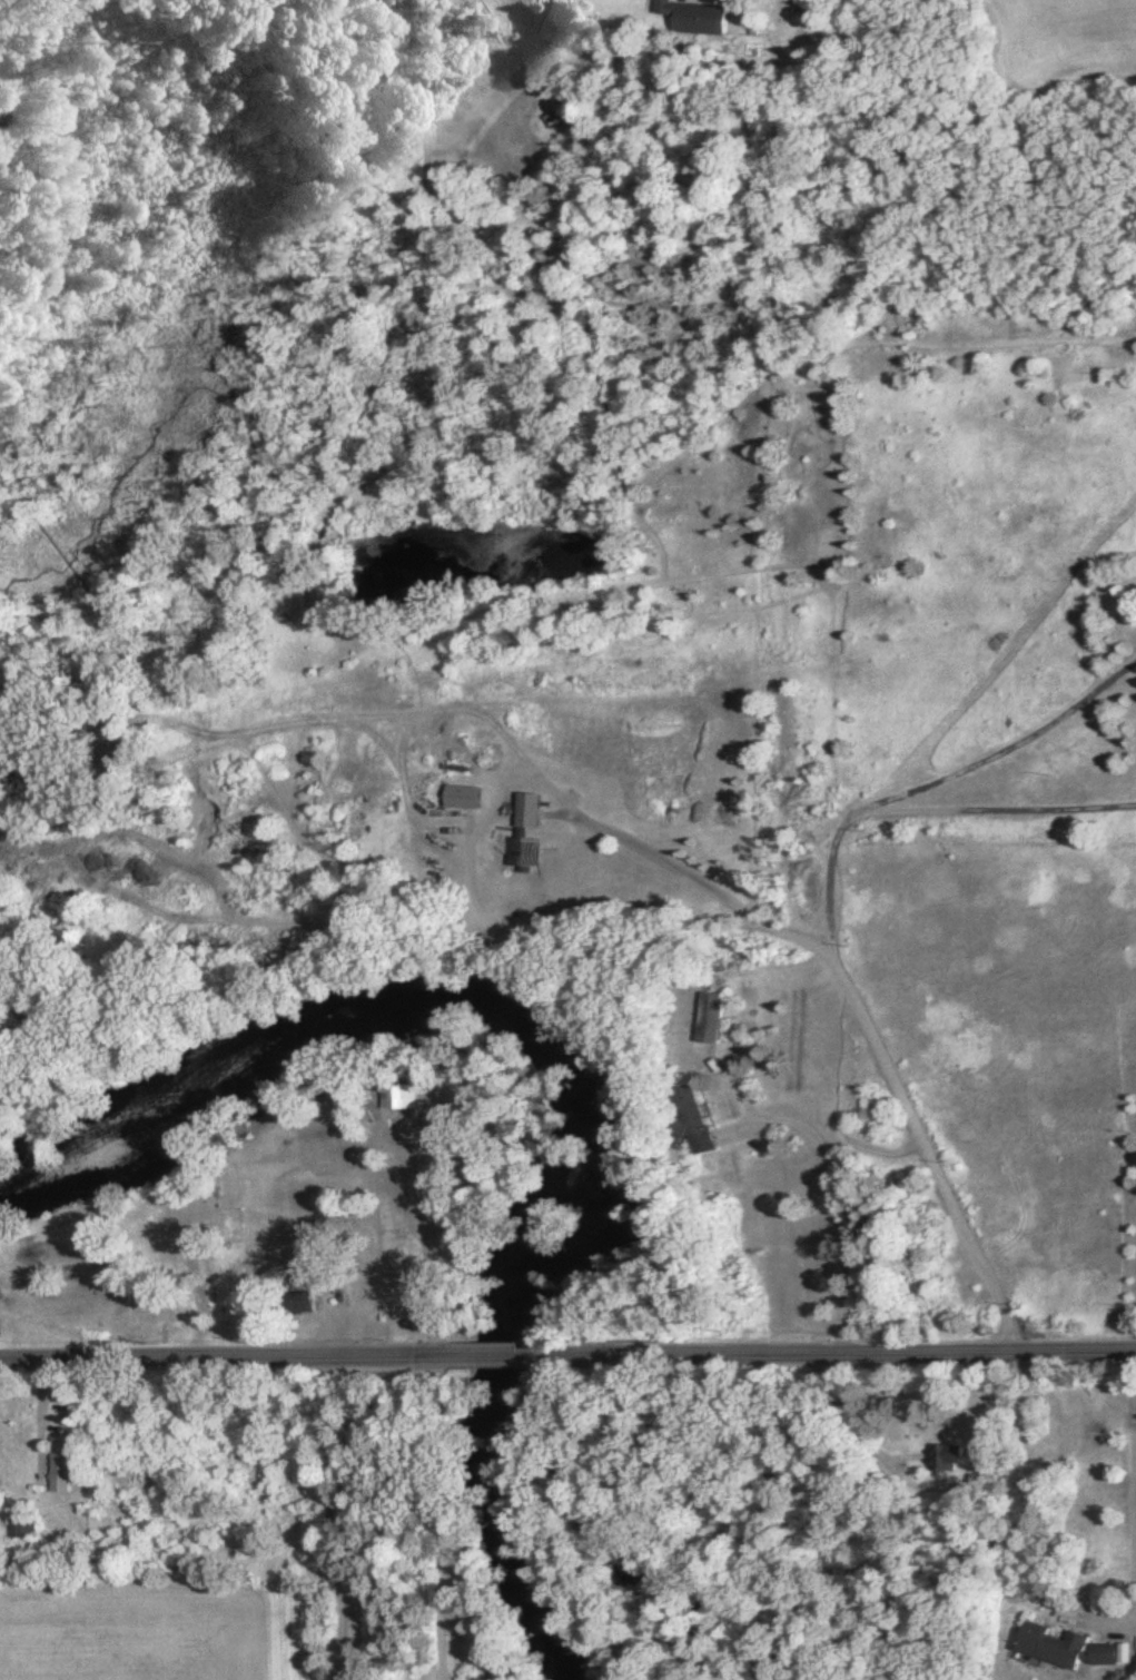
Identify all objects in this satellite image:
building: (693, 22)
road: (997, 748)
building: (460, 801)
road: (991, 809)
building: (523, 839)
road: (624, 842)
building: (710, 1021)
river: (563, 1080)
road: (890, 1084)
building: (397, 1101)
building: (689, 1116)
road: (827, 1198)
road: (437, 1223)
building: (297, 1307)
road: (847, 1353)
road: (513, 1357)
road: (233, 1358)
road: (32, 1426)
building: (945, 1462)
building: (56, 1471)
road: (1133, 1500)
road: (343, 1519)
road: (433, 1519)
building: (1073, 1652)

